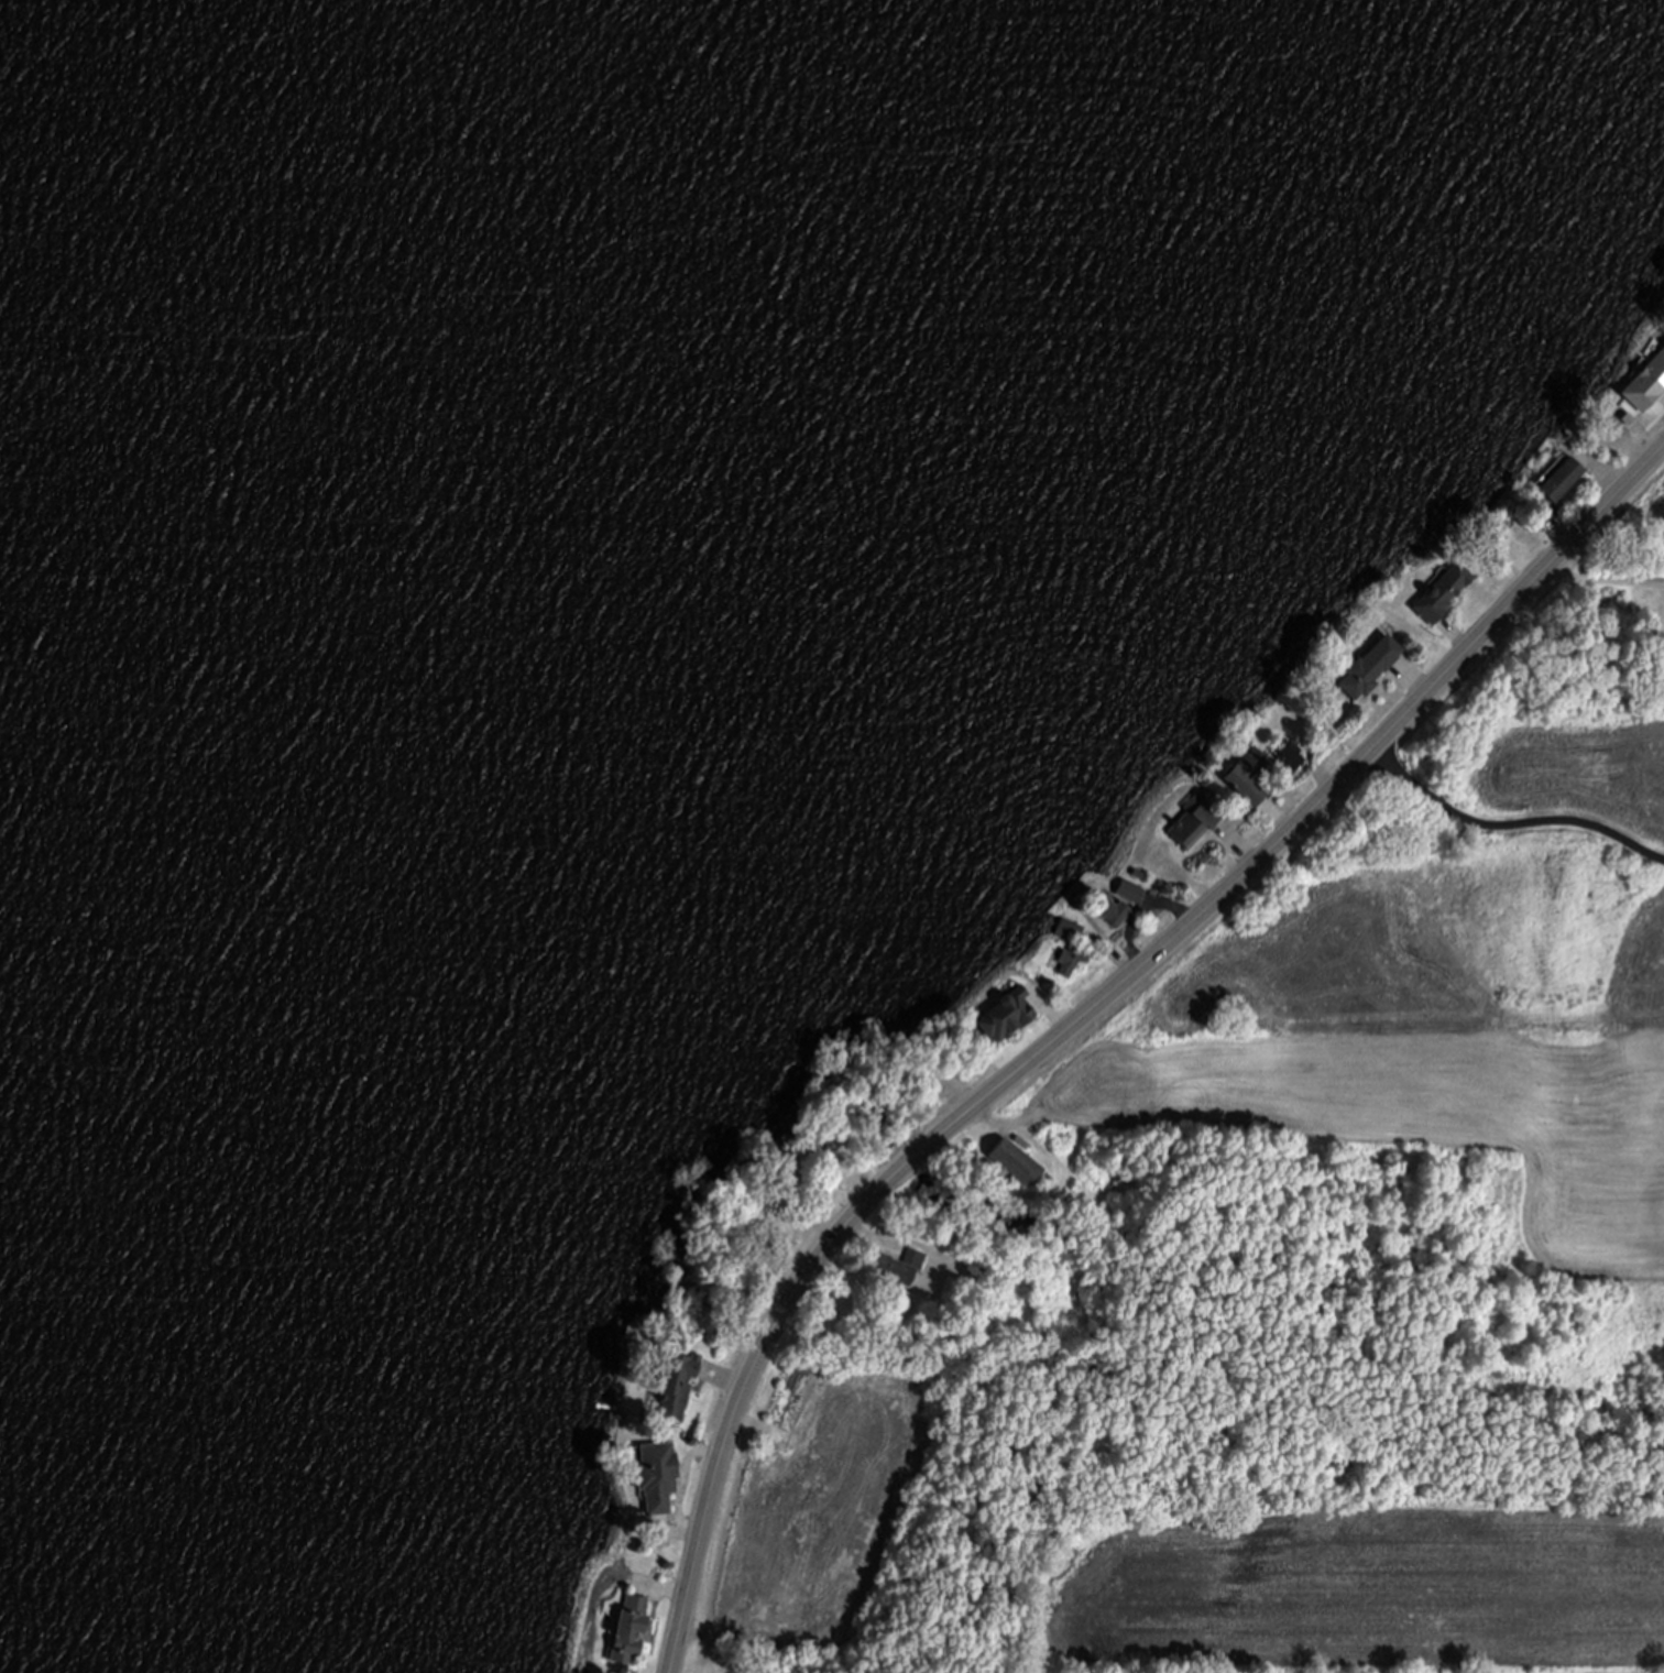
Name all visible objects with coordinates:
building: (1650, 358)
building: (1641, 384)
building: (1562, 483)
building: (1543, 510)
road: (1607, 582)
building: (1443, 597)
building: (1370, 671)
building: (1291, 764)
building: (1249, 780)
building: (1197, 827)
road: (1511, 827)
building: (1131, 895)
building: (1118, 917)
building: (1074, 930)
building: (1065, 940)
building: (1074, 964)
building: (1009, 1018)
road: (1092, 1019)
building: (839, 1149)
building: (1017, 1167)
building: (999, 1176)
building: (901, 1271)
building: (677, 1390)
building: (657, 1480)
crop: (808, 1506)
crop: (1354, 1590)
building: (631, 1634)

